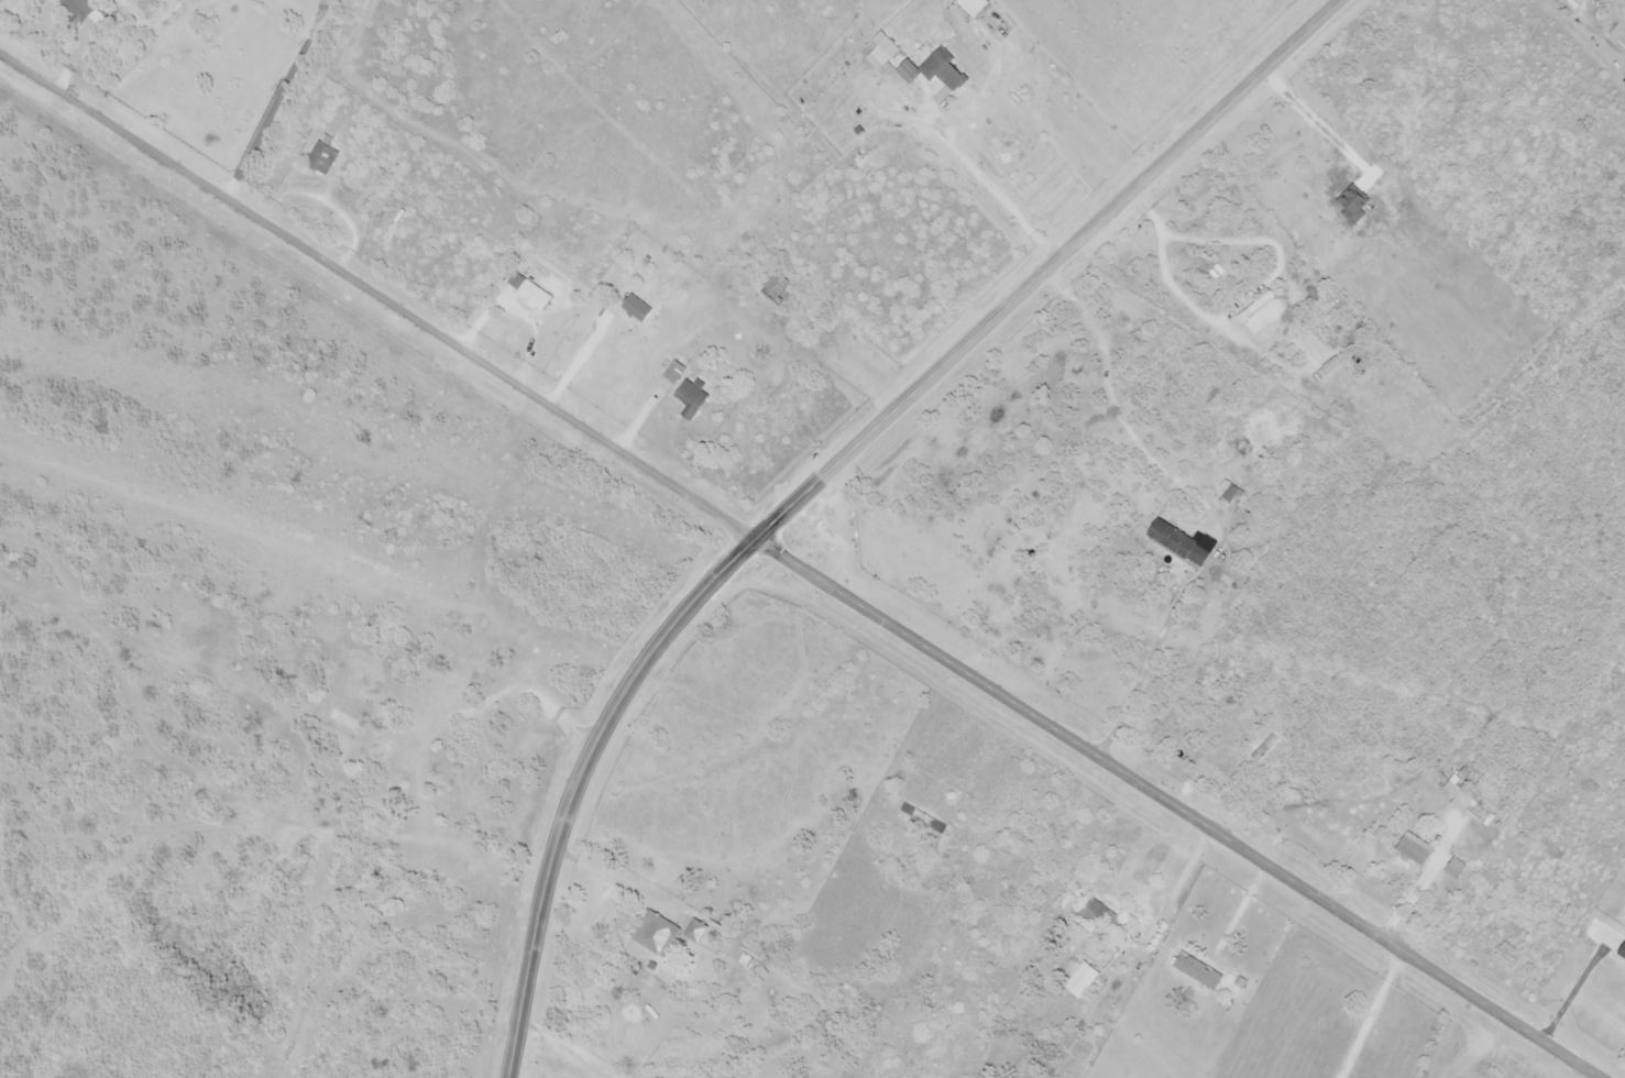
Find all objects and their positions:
building: (80, 10)
building: (325, 157)
road: (990, 187)
building: (534, 293)
road: (377, 296)
road: (1237, 304)
building: (1265, 313)
road: (824, 475)
road: (1197, 506)
building: (1184, 544)
building: (470, 651)
road: (1175, 809)
building: (1419, 850)
road: (563, 1048)

